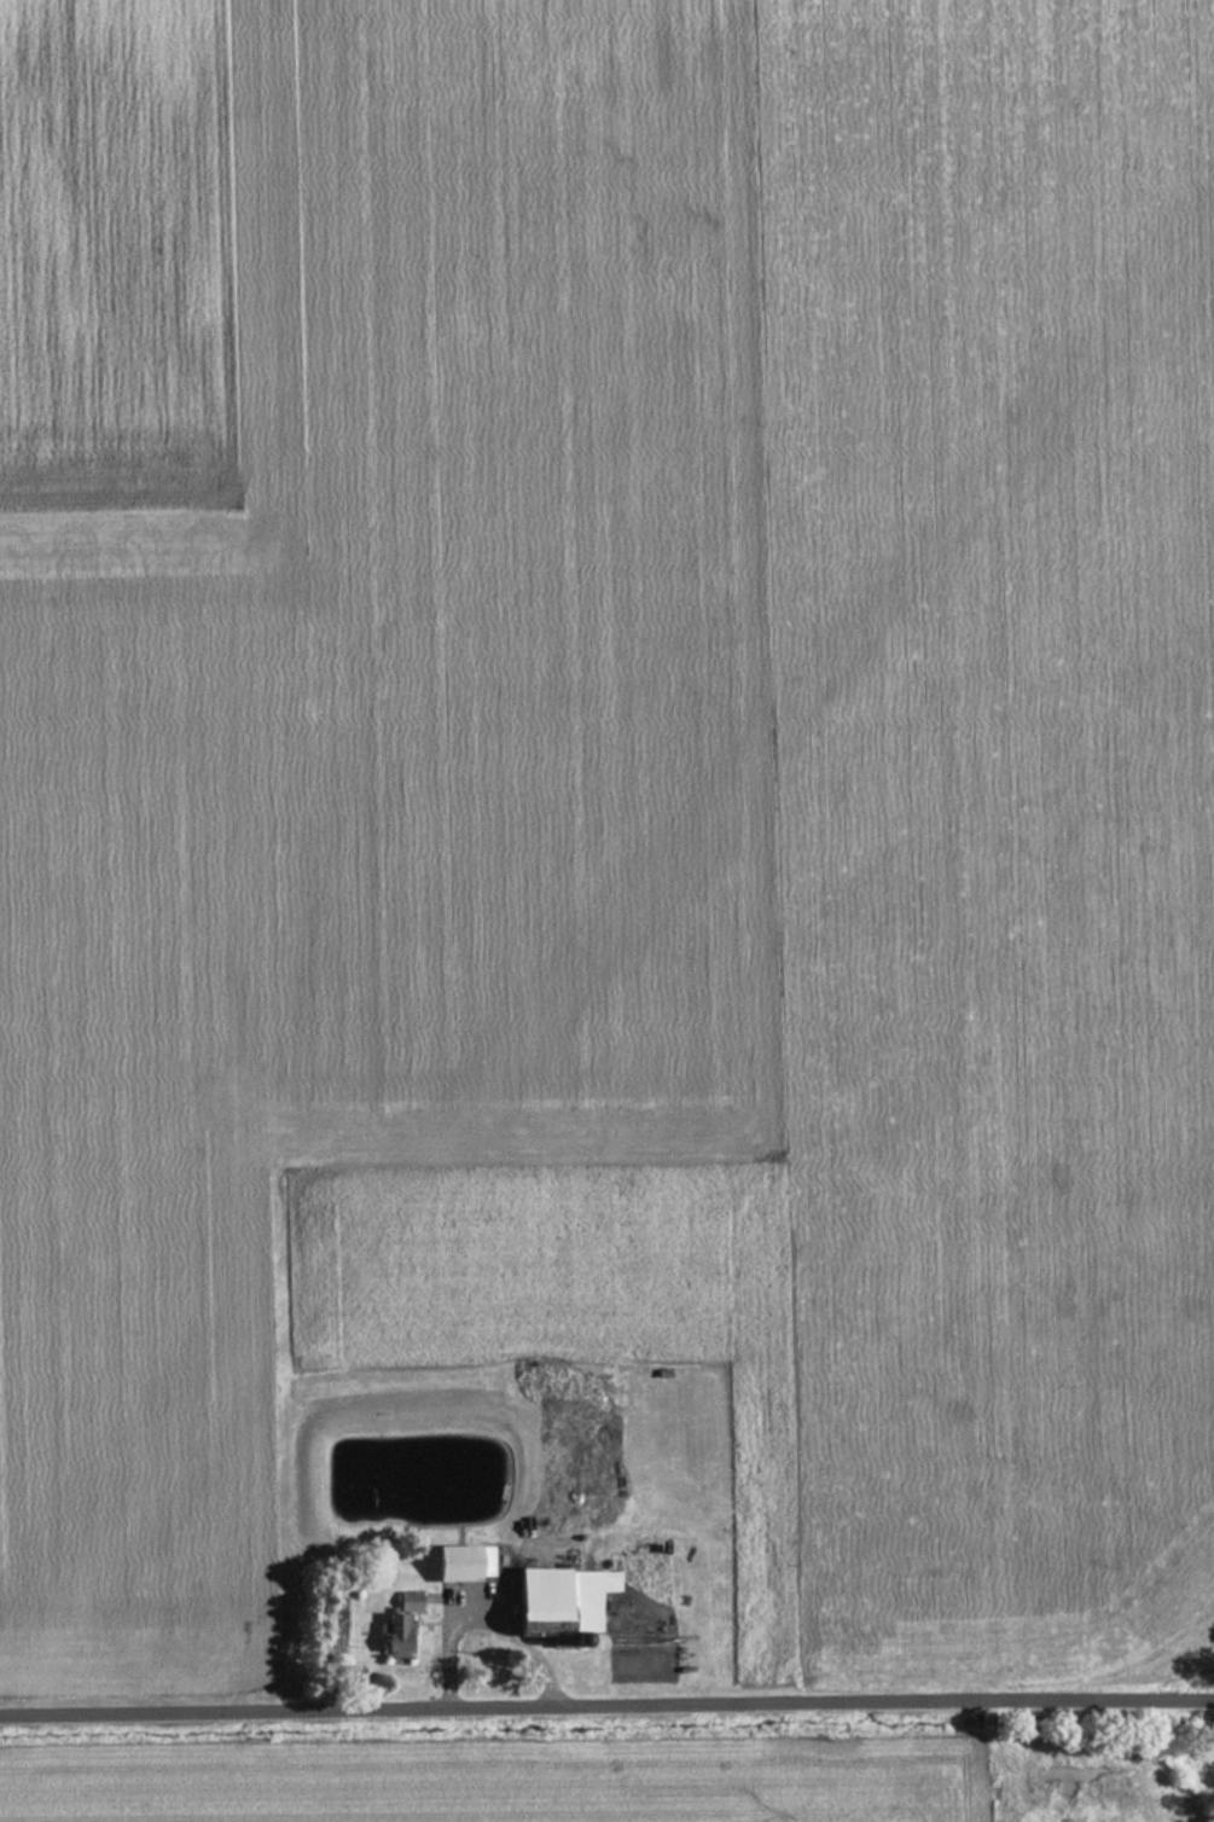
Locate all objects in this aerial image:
crop: (612, 787)
building: (458, 1563)
building: (556, 1601)
building: (405, 1602)
building: (391, 1636)
road: (606, 1704)
crop: (501, 1786)

